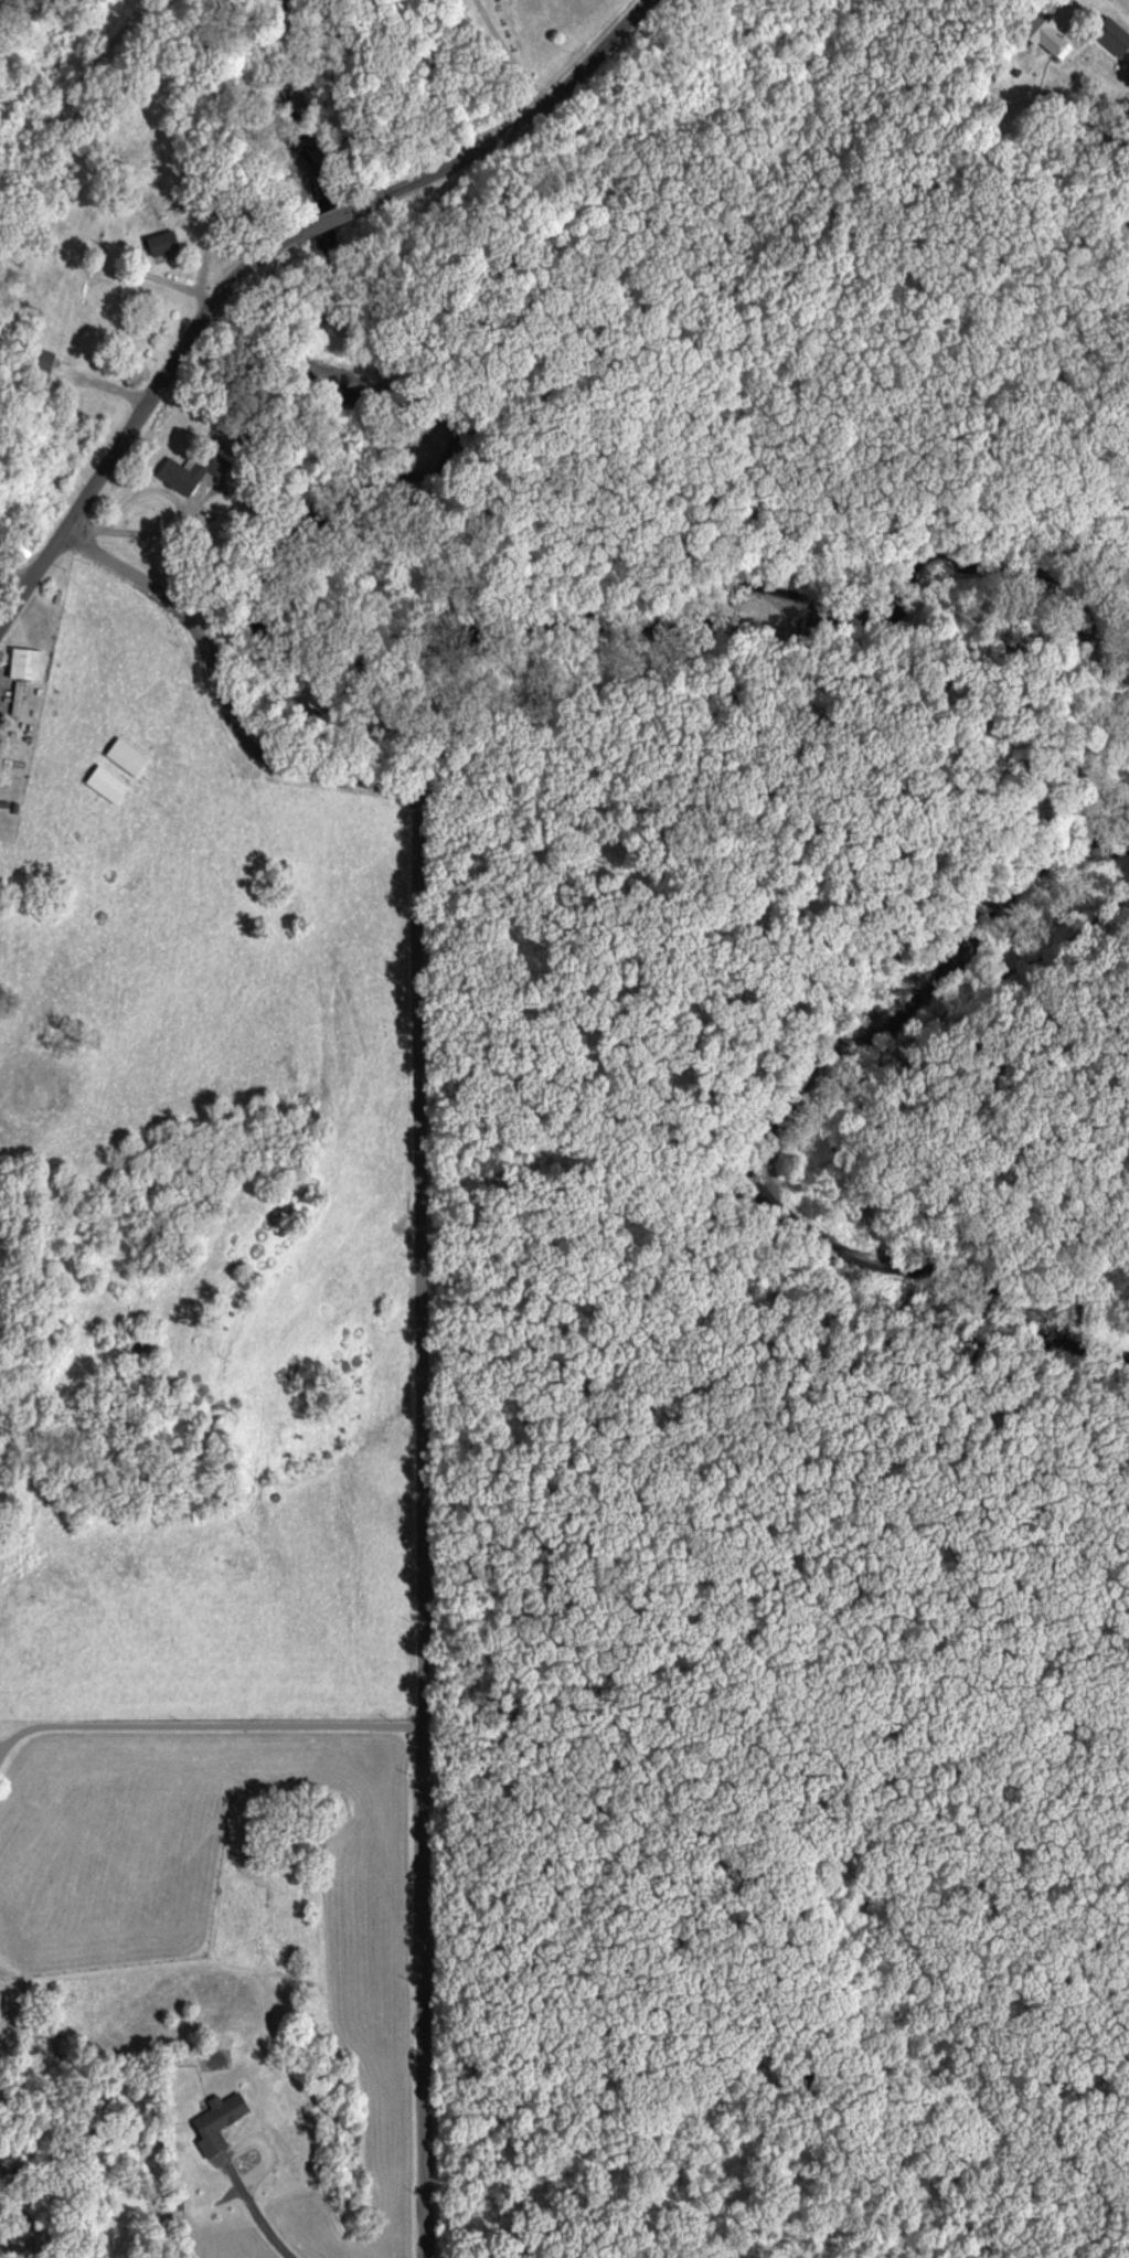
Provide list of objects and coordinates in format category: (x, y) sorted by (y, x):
building: (1112, 39)
building: (1052, 43)
road: (530, 98)
building: (162, 247)
building: (43, 365)
road: (178, 381)
building: (181, 478)
road: (1068, 524)
building: (26, 667)
building: (19, 701)
road: (241, 710)
building: (127, 759)
building: (107, 786)
road: (840, 1199)
road: (419, 1551)
road: (211, 1745)
building: (219, 2123)

